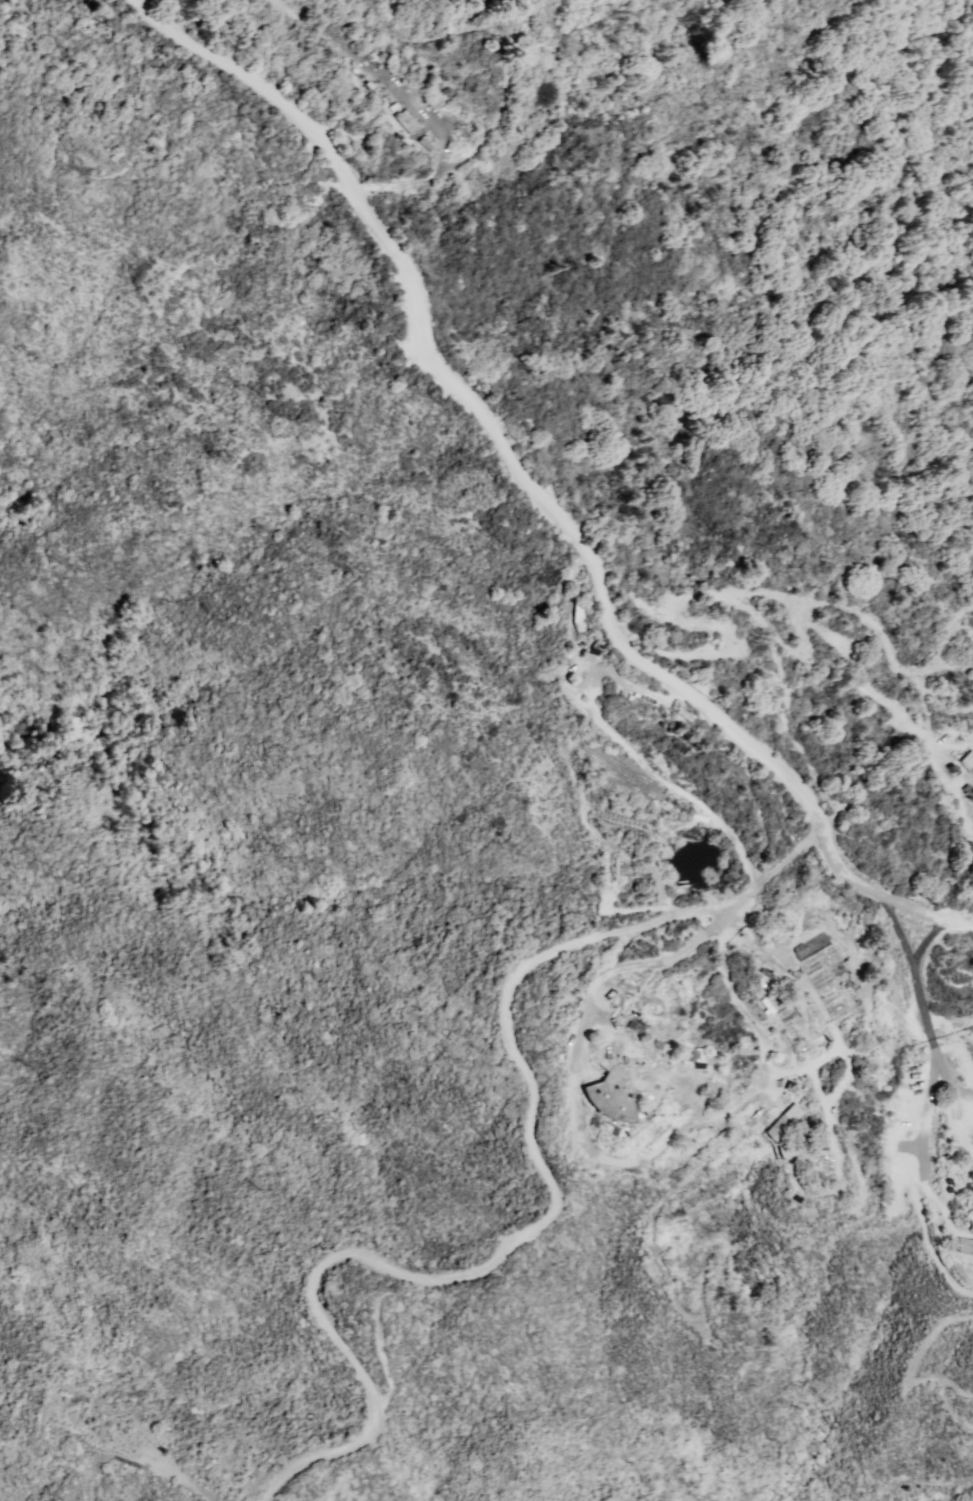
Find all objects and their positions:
road: (380, 30)
road: (385, 85)
road: (474, 147)
road: (530, 489)
road: (811, 629)
road: (942, 639)
road: (626, 751)
building: (966, 762)
road: (969, 823)
road: (927, 1028)
building: (614, 1094)
road: (964, 1095)
building: (781, 1122)
road: (924, 1144)
road: (604, 1161)
road: (552, 1201)
building: (963, 1246)
road: (65, 1422)
road: (77, 1487)
road: (197, 1491)

